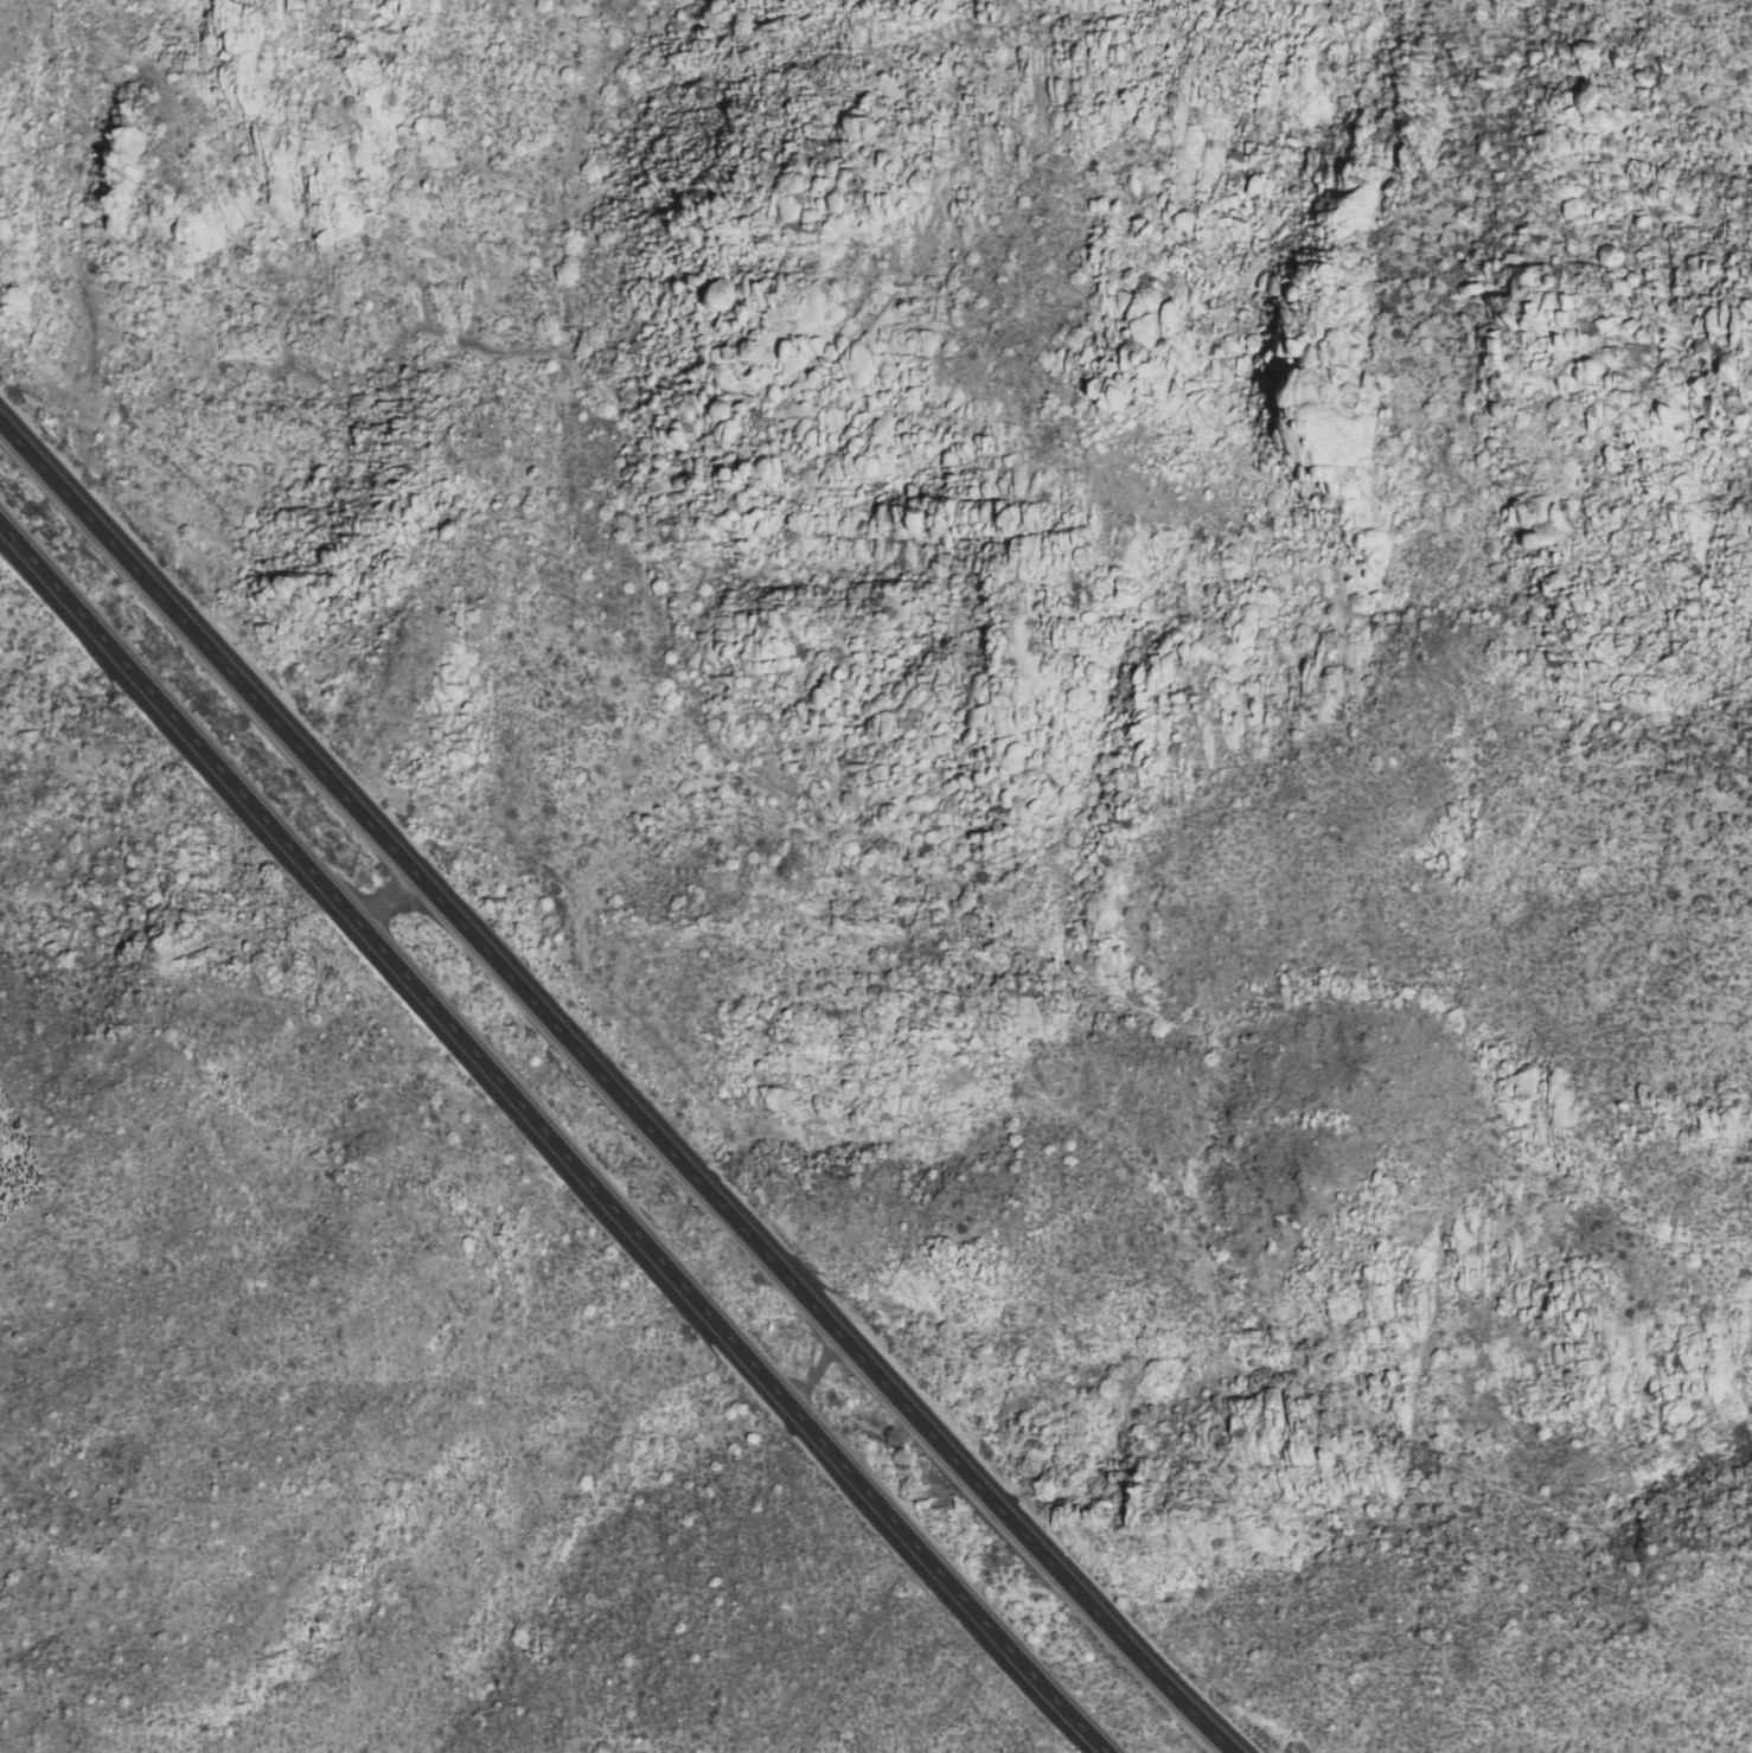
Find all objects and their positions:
road: (614, 1087)
road: (552, 1134)

